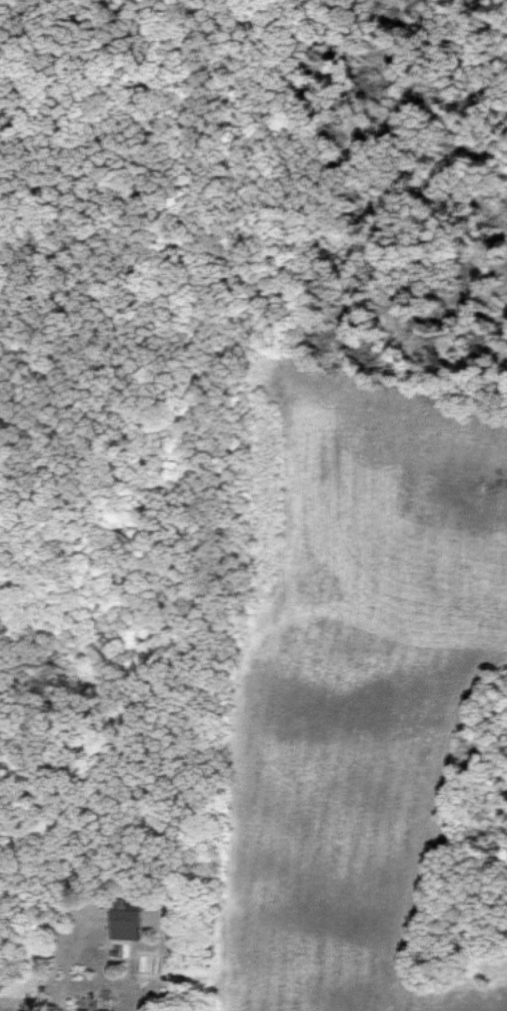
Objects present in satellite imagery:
road: (70, 966)

